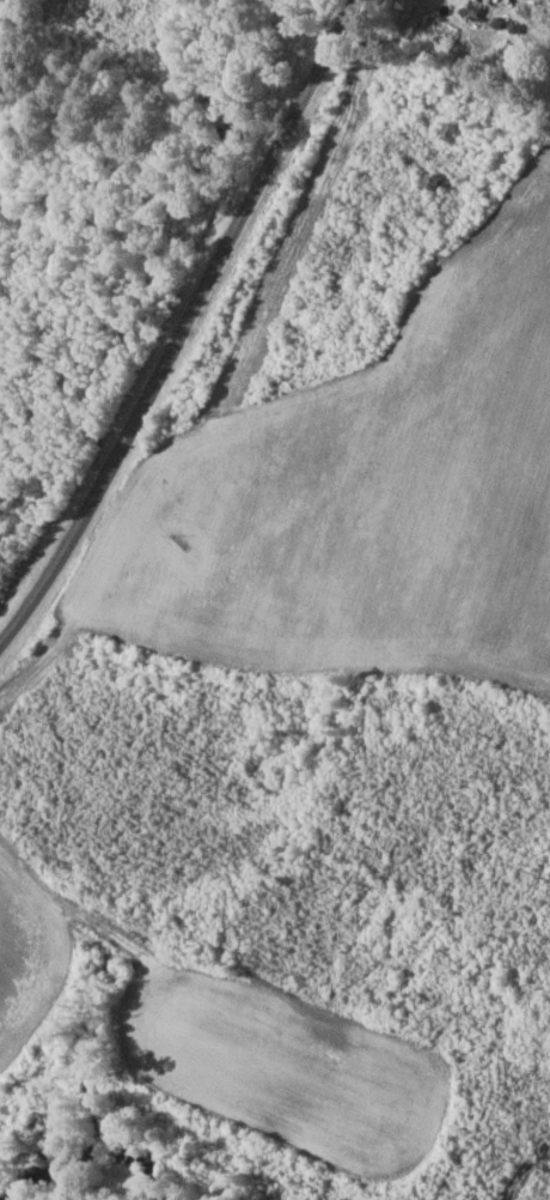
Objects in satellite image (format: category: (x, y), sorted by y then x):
road: (190, 326)

